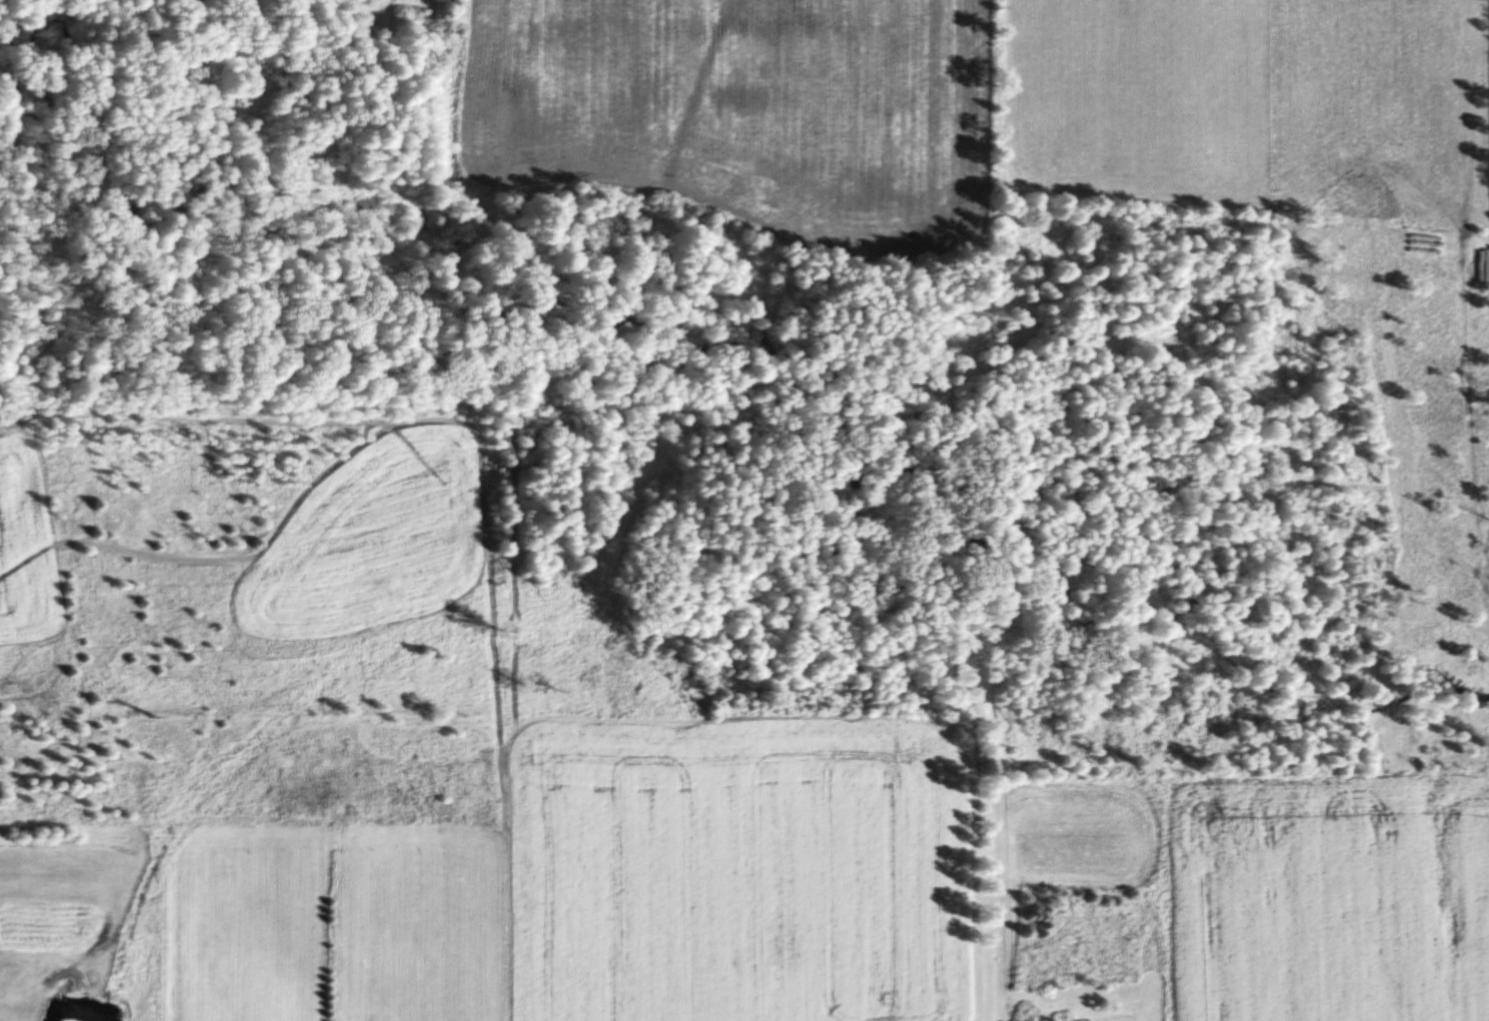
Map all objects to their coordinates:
road: (1006, 916)

